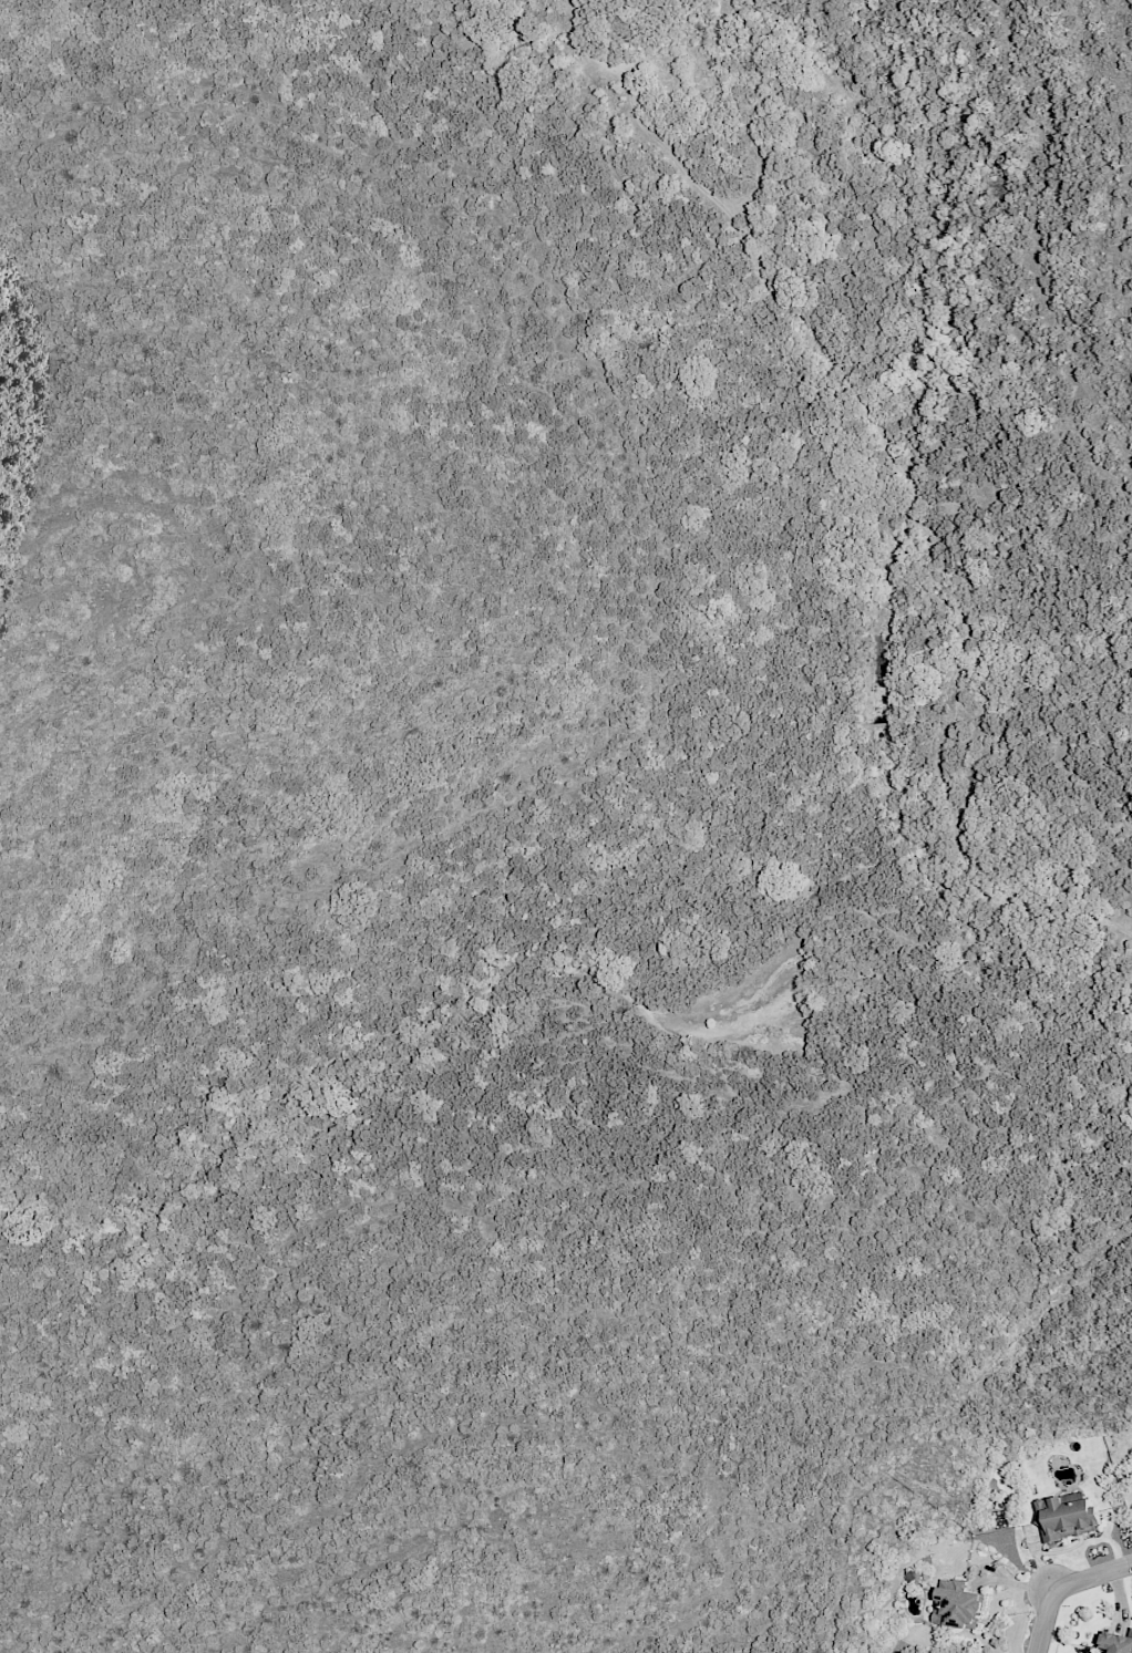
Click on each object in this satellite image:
building: (1066, 1516)
road: (1061, 1587)
building: (958, 1604)
building: (1116, 1642)

